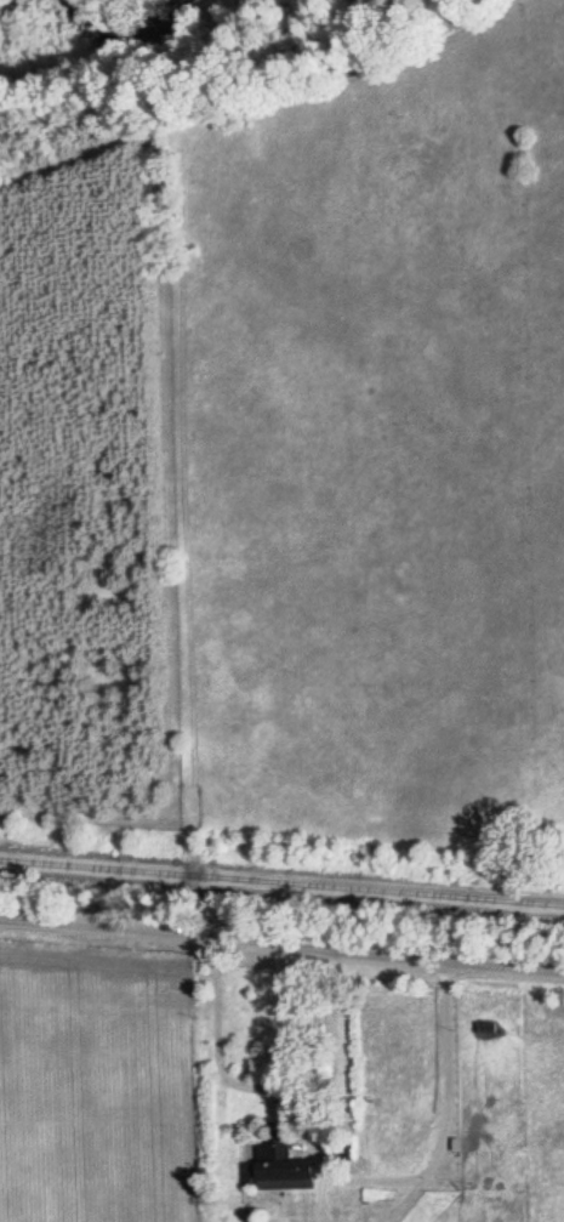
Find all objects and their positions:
railway: (281, 882)
road: (281, 939)
building: (278, 1167)

